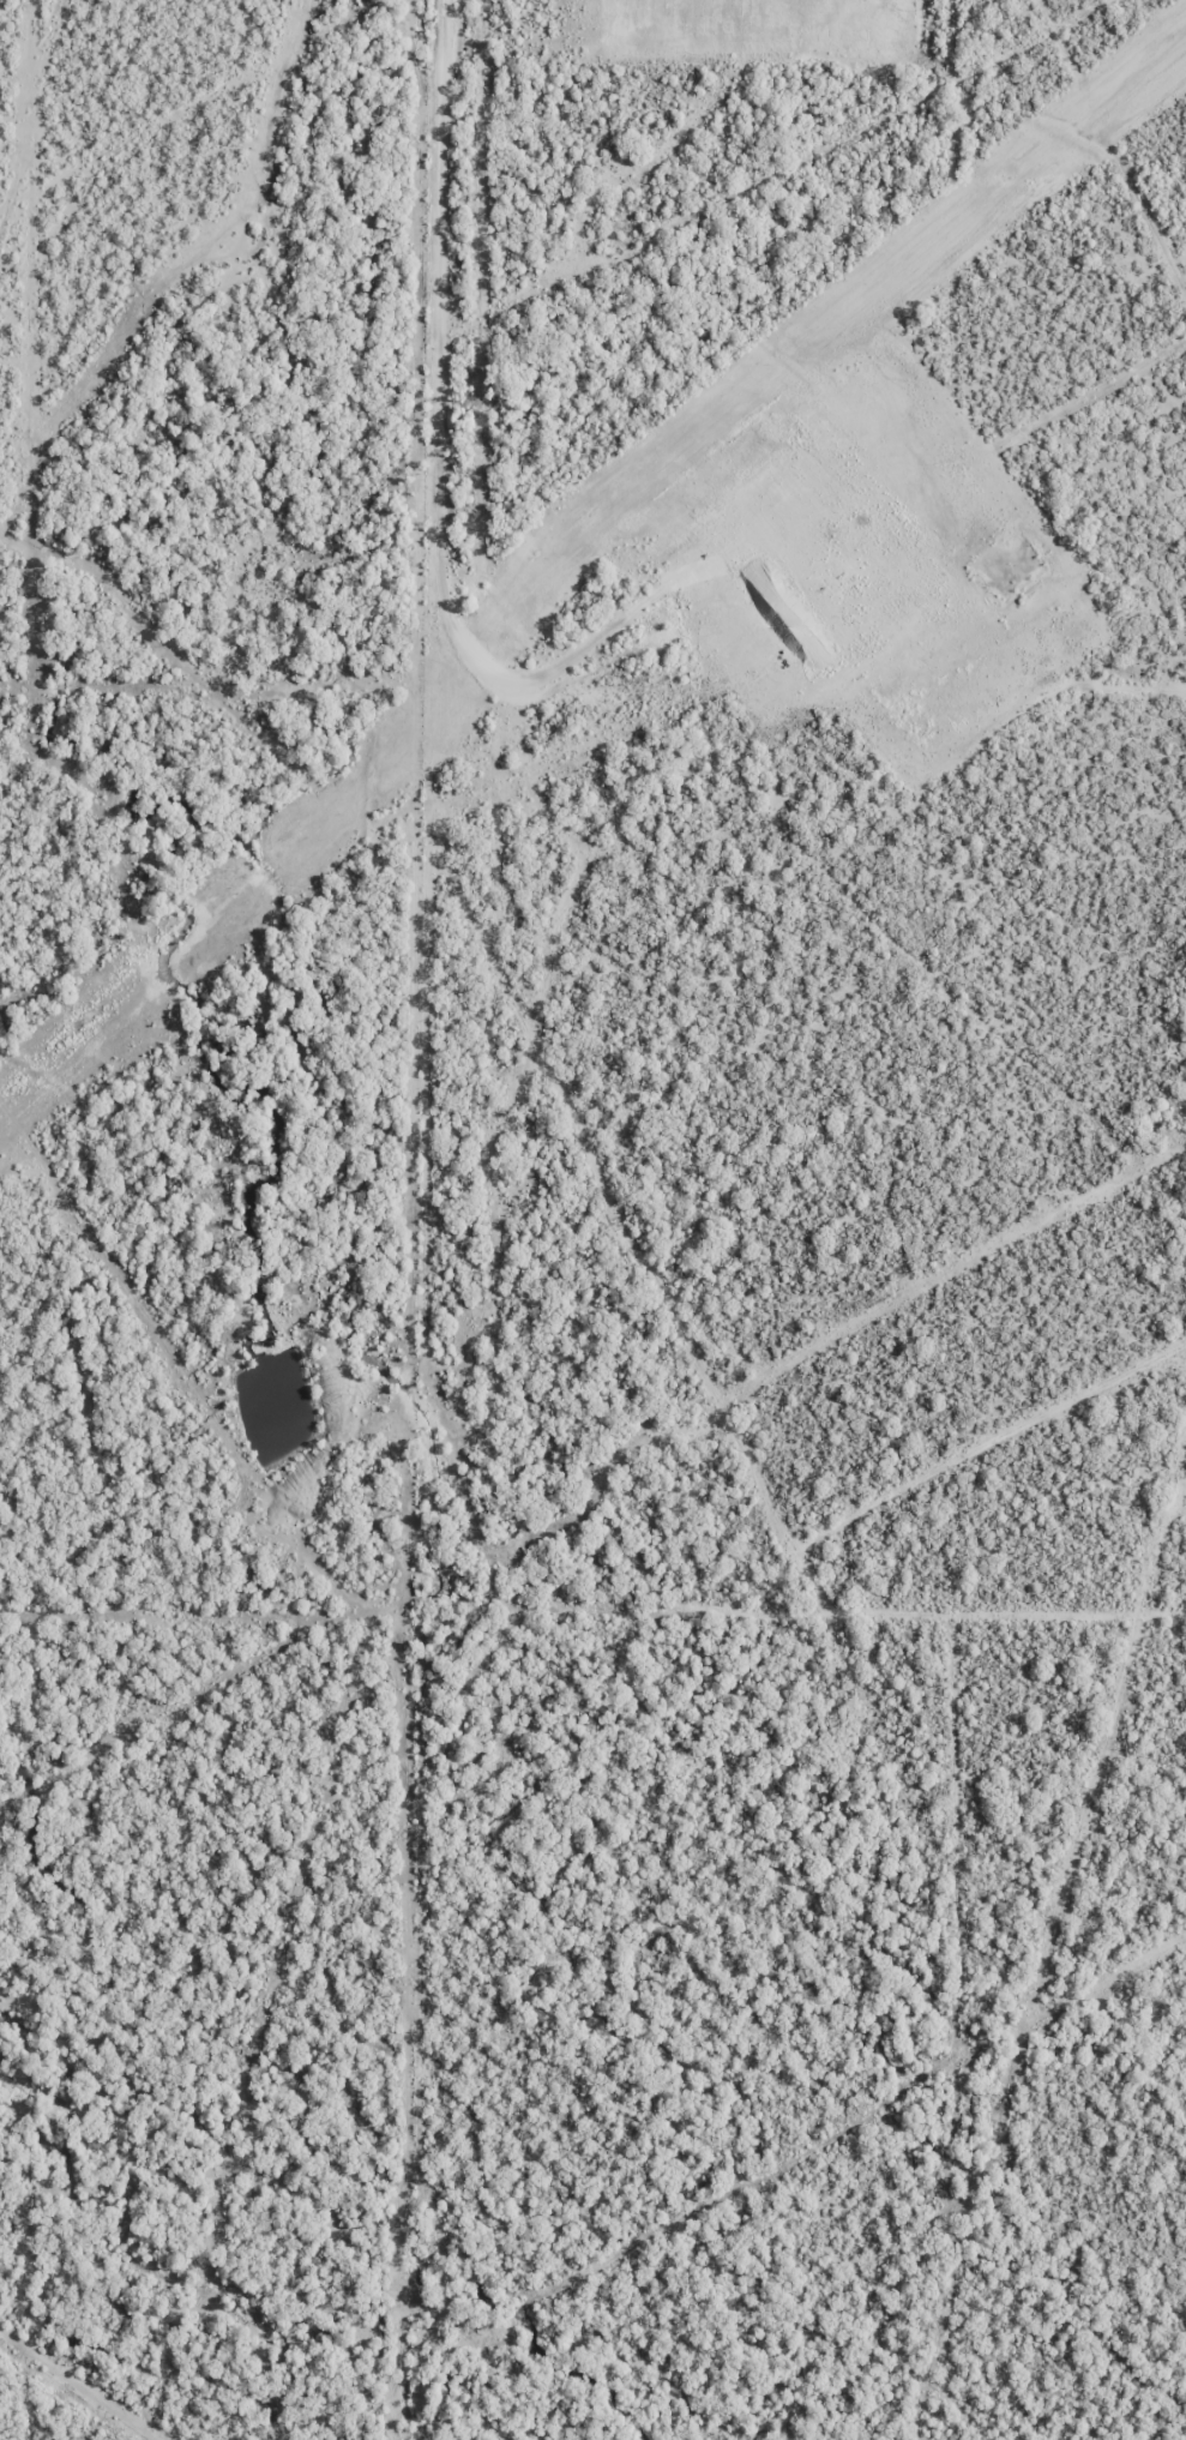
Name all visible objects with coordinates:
road: (443, 467)

